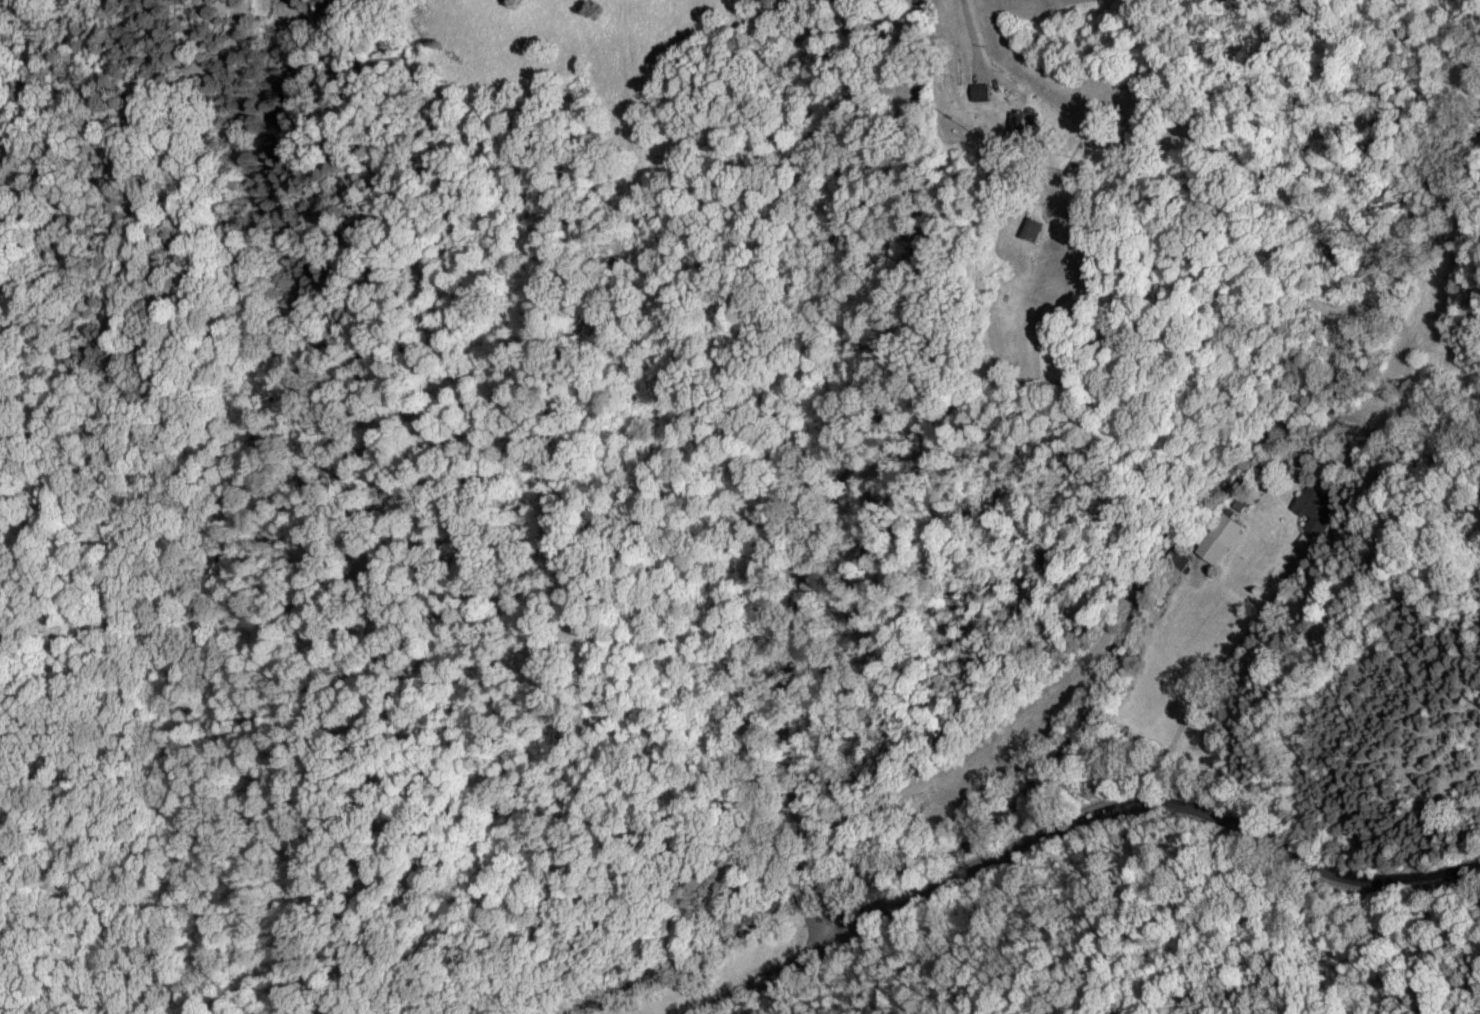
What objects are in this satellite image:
road: (971, 41)
crop: (564, 44)
crop: (1011, 59)
building: (977, 93)
building: (1030, 231)
building: (1308, 504)
building: (1217, 540)
building: (1176, 558)
road: (1212, 683)
road: (1077, 831)

